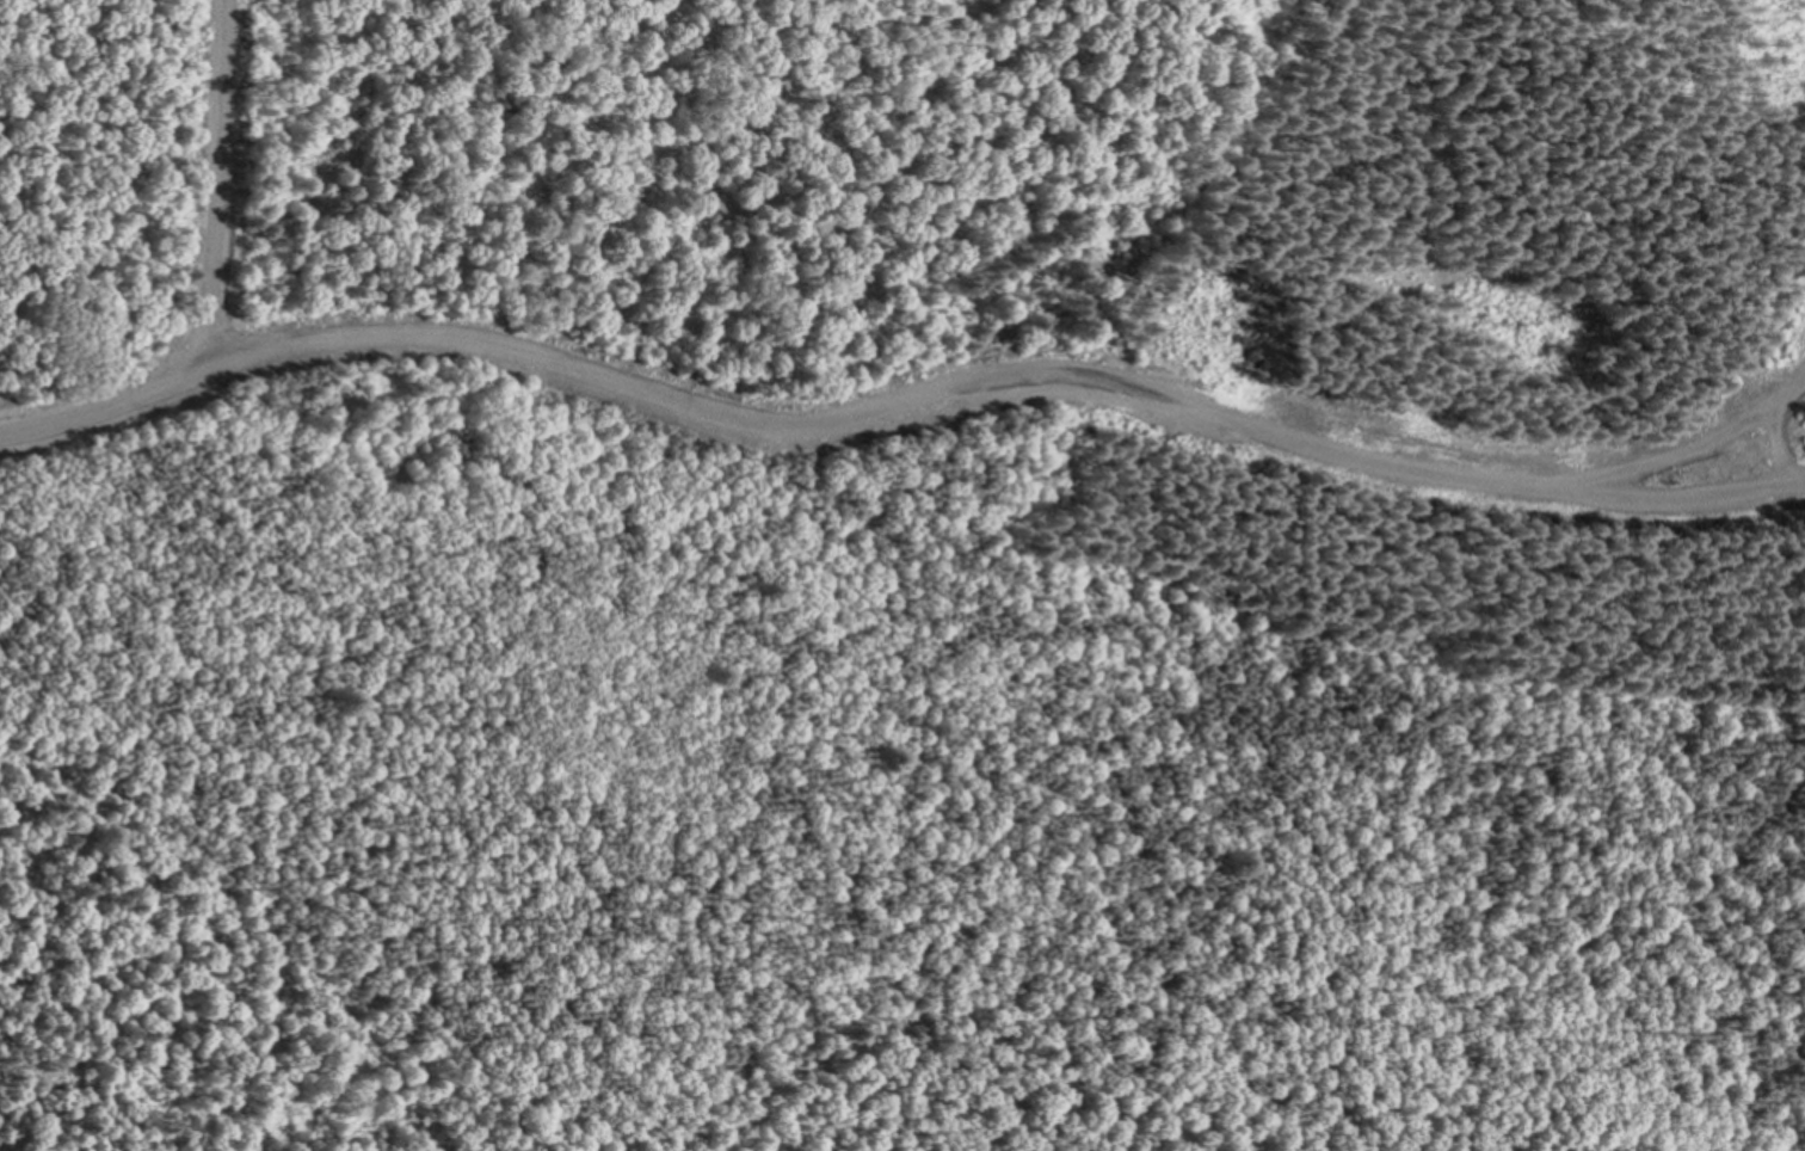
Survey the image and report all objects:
road: (224, 183)
road: (898, 404)
road: (895, 430)
road: (1778, 445)
road: (1681, 450)

